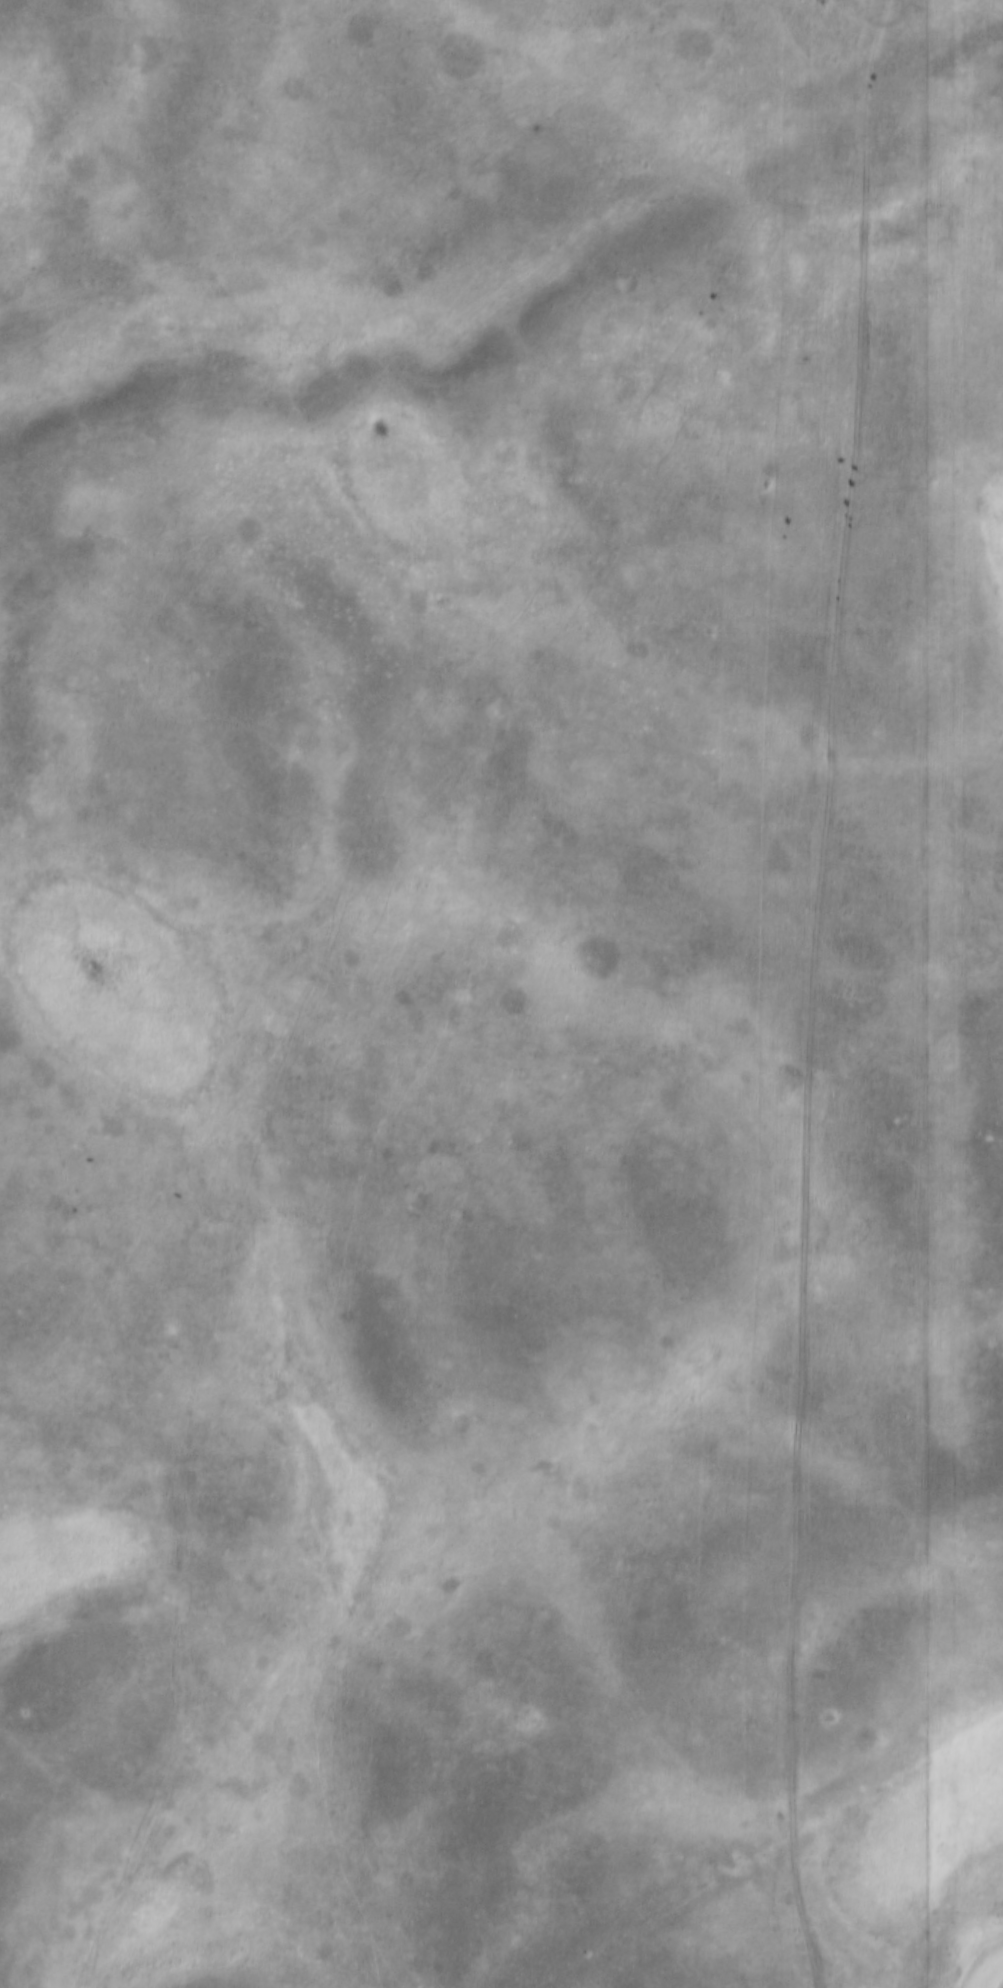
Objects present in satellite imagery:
road: (813, 978)

